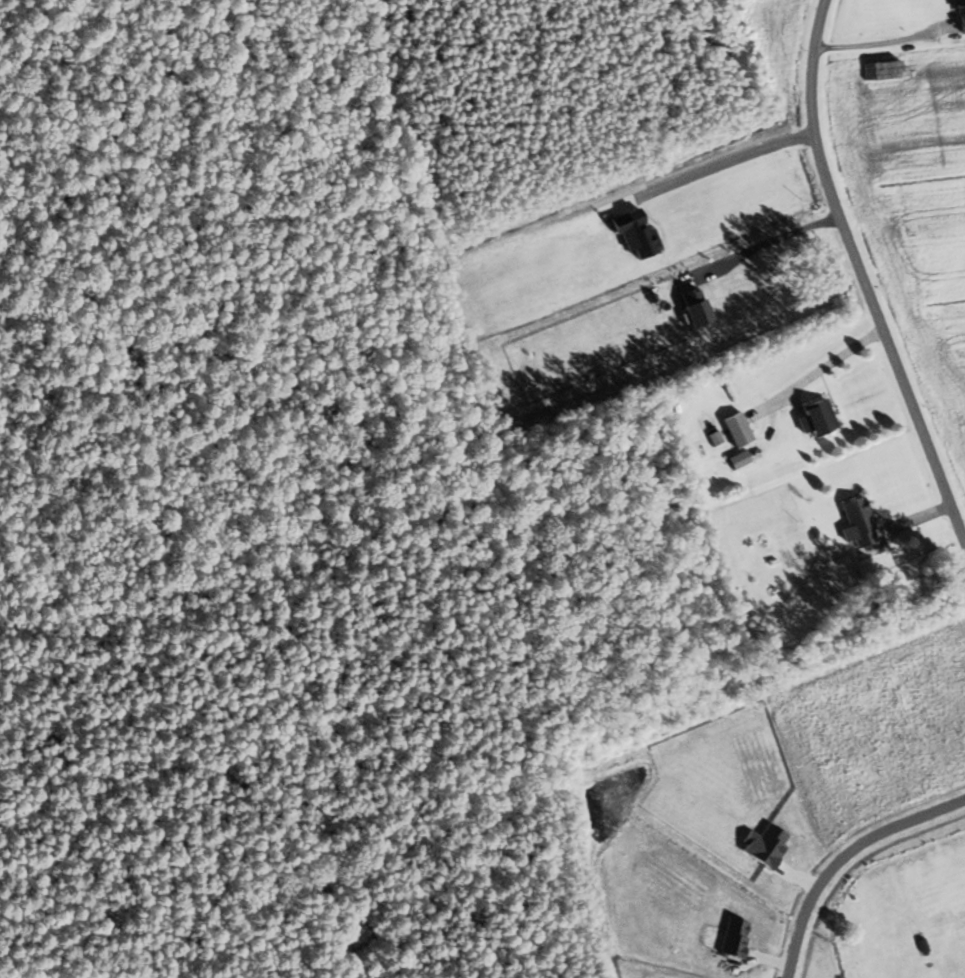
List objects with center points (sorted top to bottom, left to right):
building: (961, 15)
road: (878, 41)
road: (726, 161)
road: (762, 240)
road: (861, 277)
road: (814, 372)
building: (819, 416)
building: (740, 429)
building: (741, 459)
building: (861, 521)
road: (844, 857)

